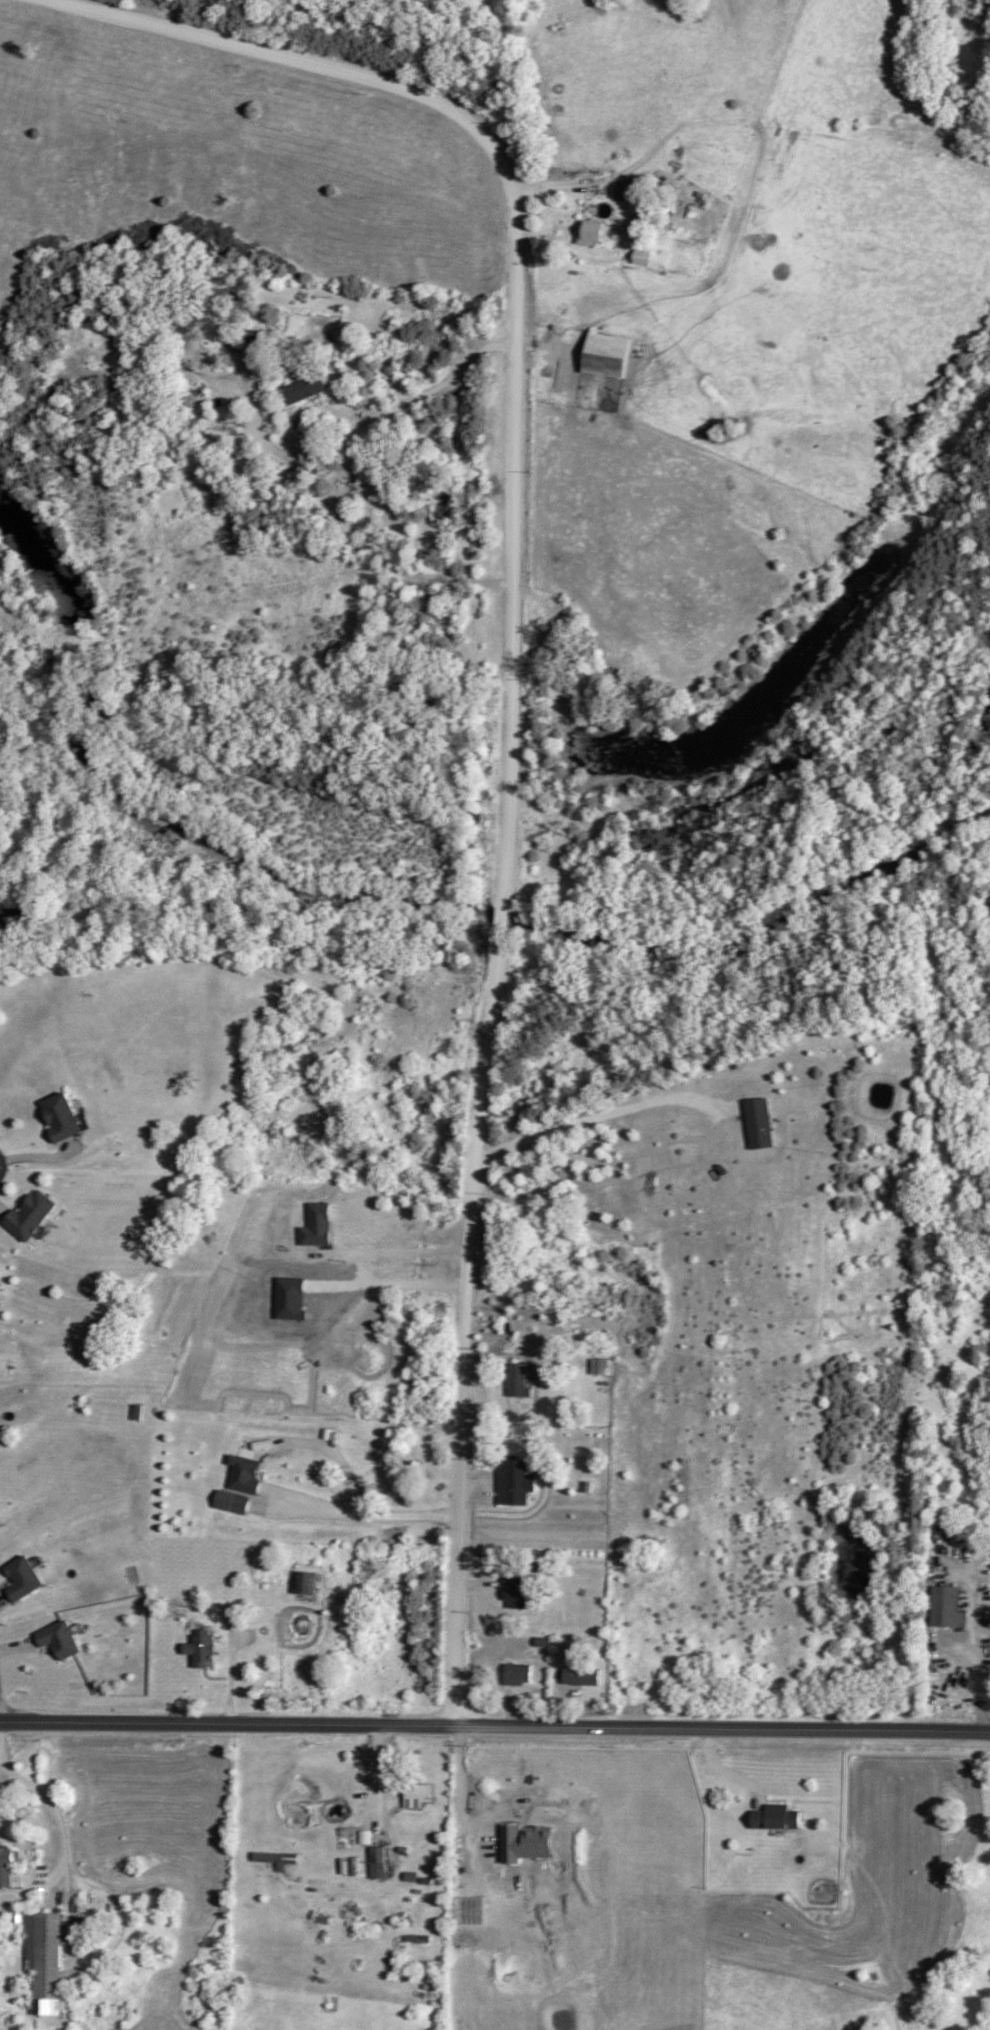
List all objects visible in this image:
building: (625, 193)
building: (594, 234)
road: (513, 284)
building: (608, 357)
building: (305, 389)
road: (354, 433)
building: (443, 505)
road: (501, 923)
building: (64, 1118)
building: (33, 1216)
building: (0, 1271)
road: (461, 1333)
building: (600, 1368)
building: (517, 1380)
building: (248, 1475)
building: (514, 1483)
building: (241, 1505)
road: (359, 1518)
building: (25, 1579)
building: (308, 1583)
building: (516, 1593)
building: (948, 1607)
building: (61, 1640)
building: (202, 1651)
building: (518, 1676)
building: (581, 1677)
road: (495, 1730)
building: (418, 1796)
building: (777, 1818)
road: (389, 1844)
building: (275, 1859)
building: (379, 1864)
building: (11, 1867)
building: (46, 1961)

